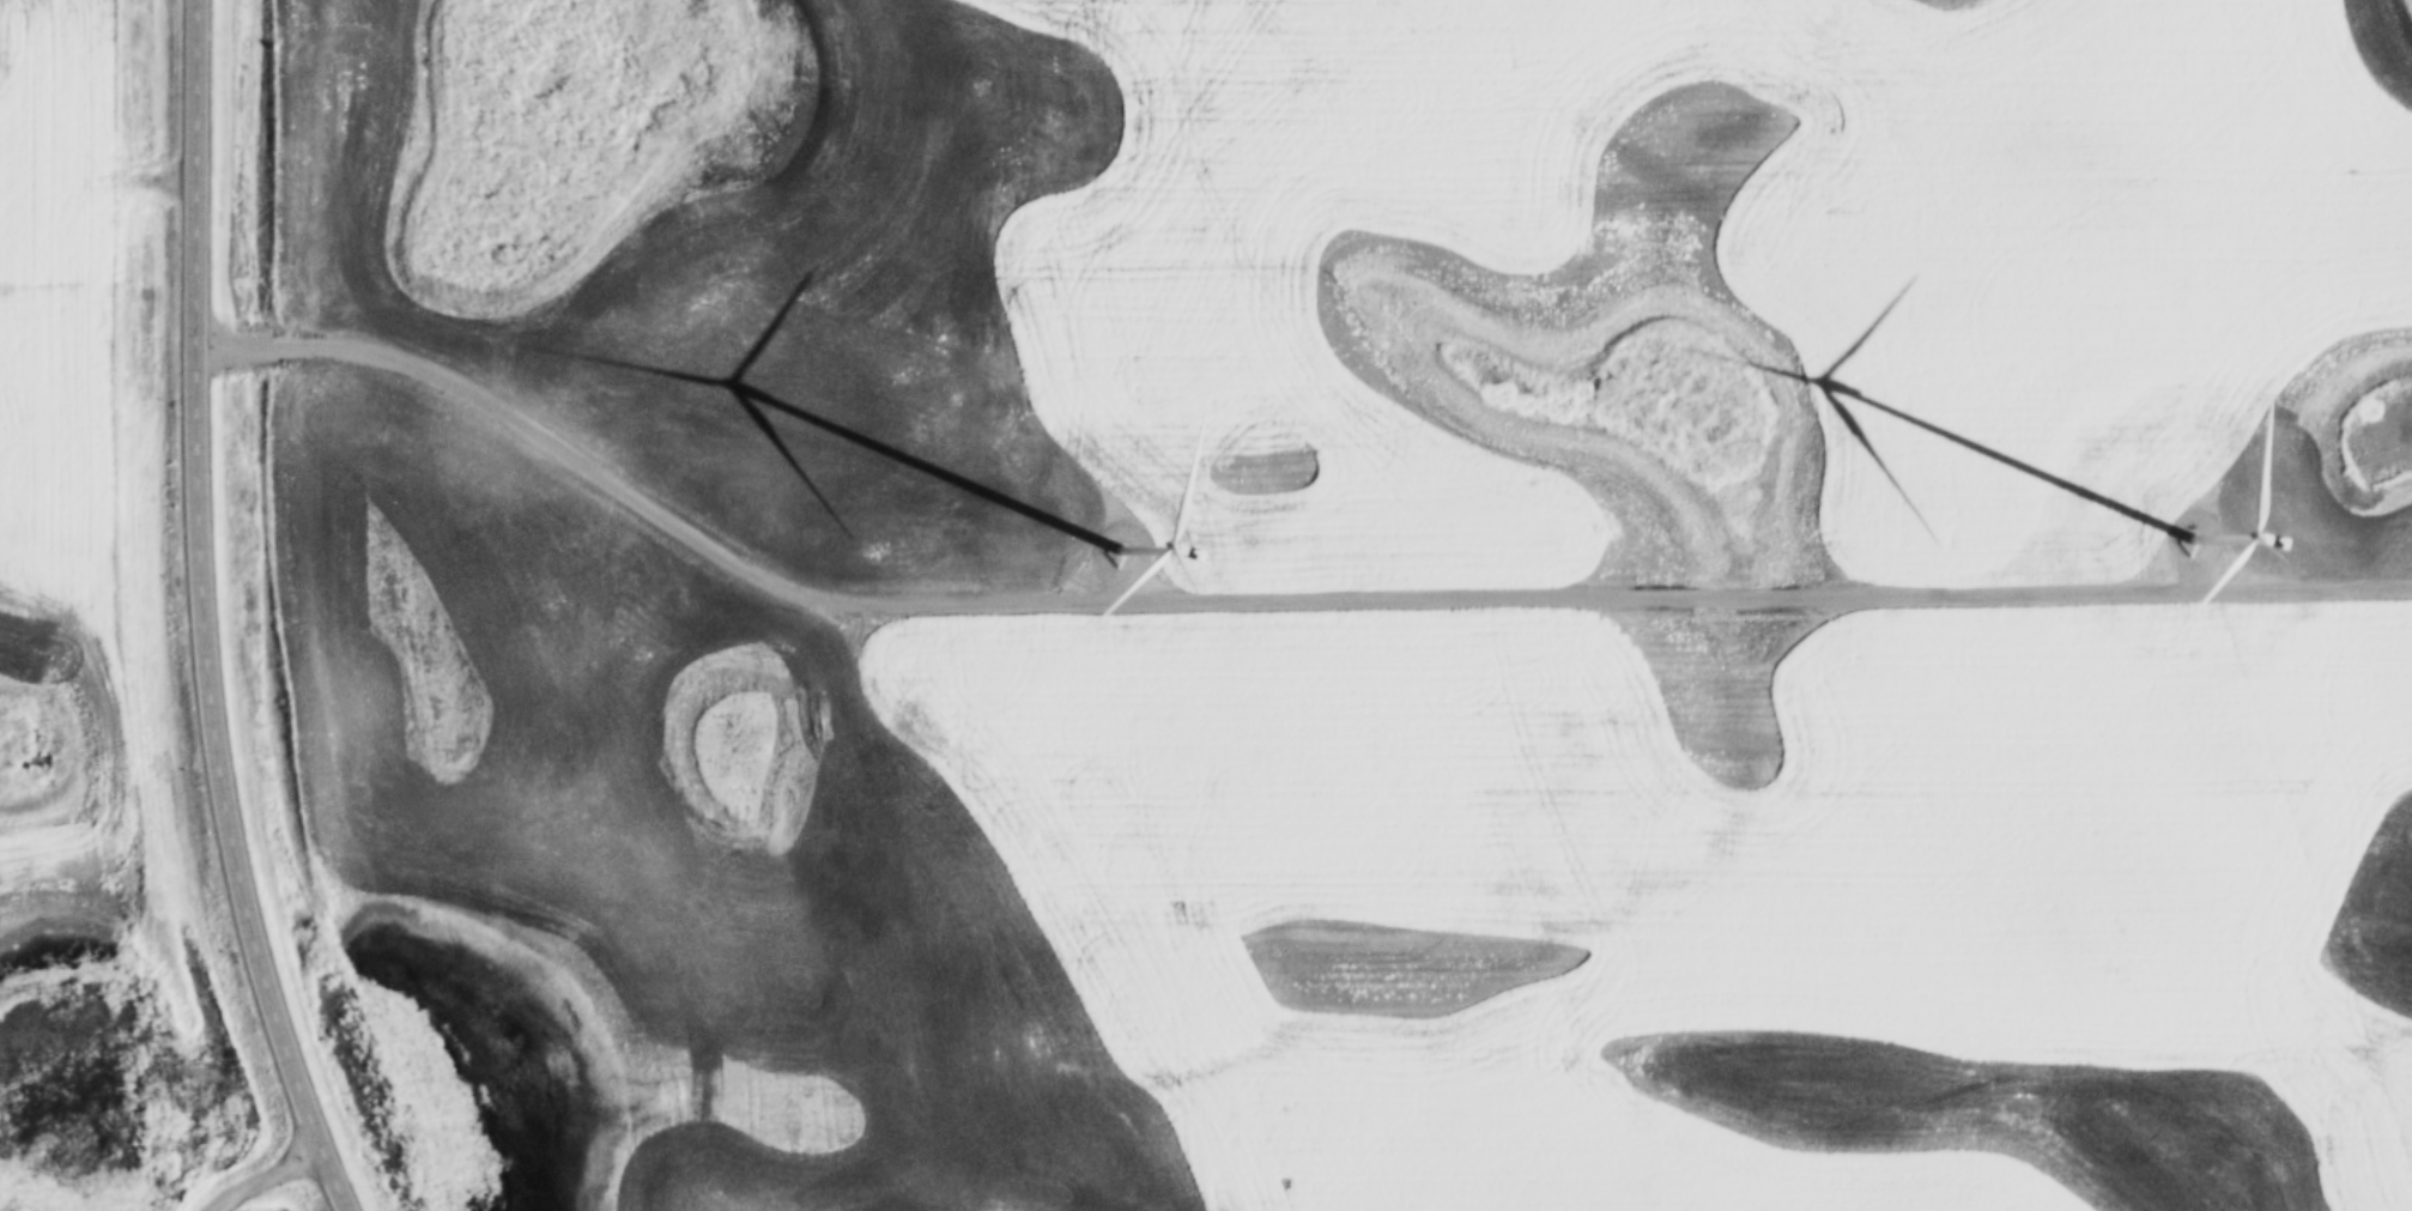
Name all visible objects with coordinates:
wind turbine: (2190, 541)
wind turbine: (1108, 550)
road: (201, 616)
road: (267, 1176)

